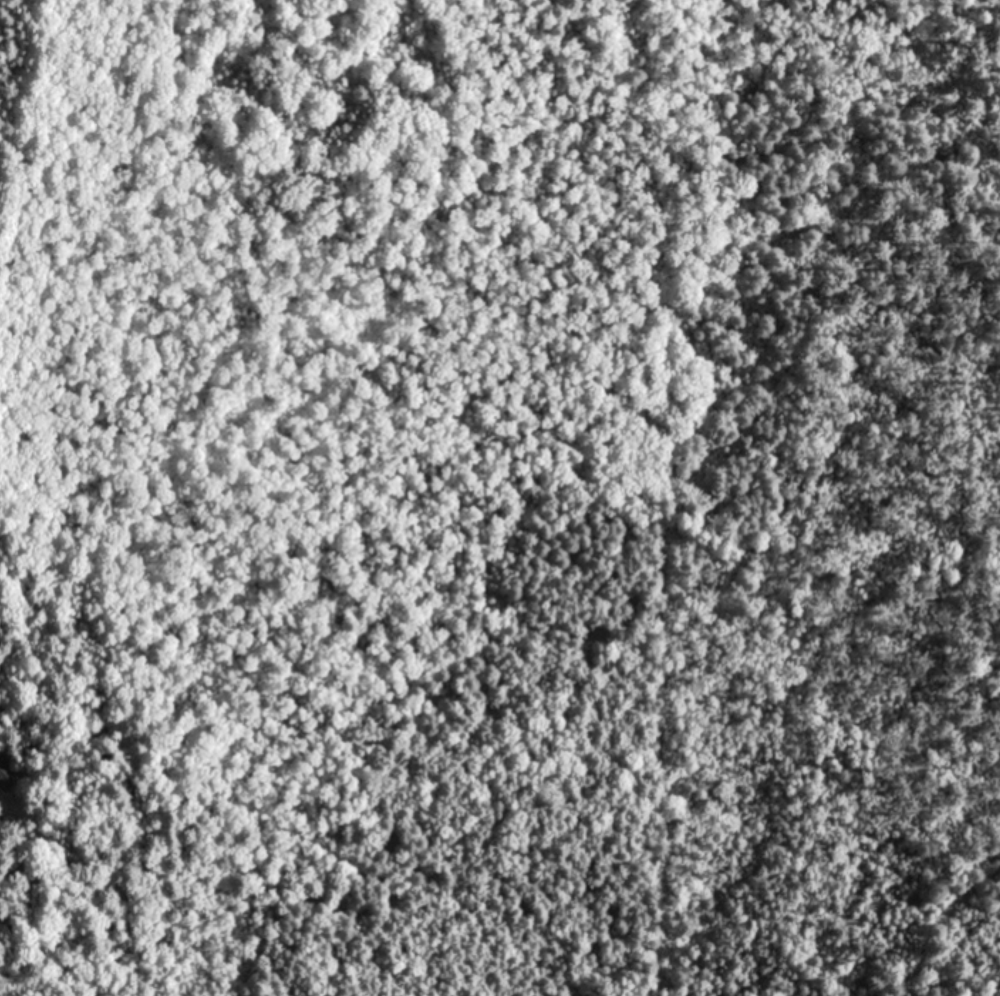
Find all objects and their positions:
building: (7, 774)

